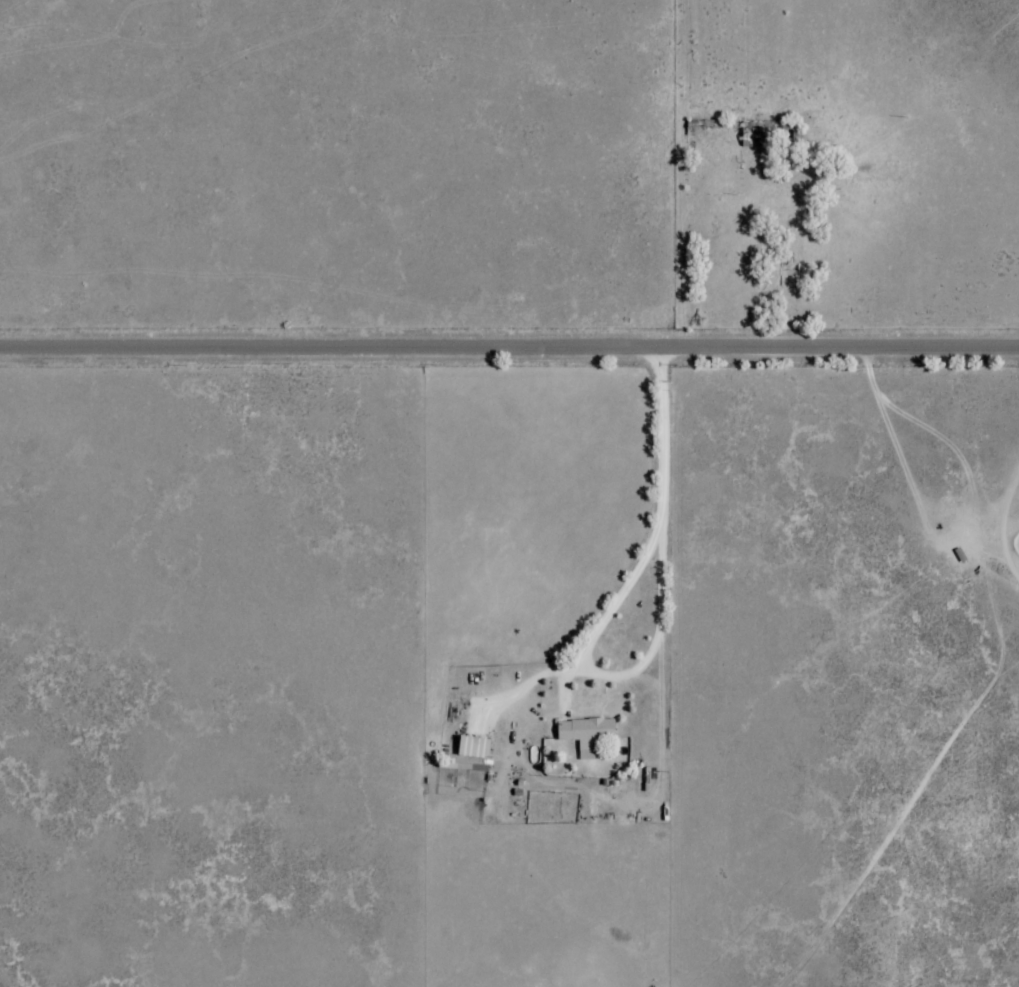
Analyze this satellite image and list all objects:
road: (691, 178)
road: (509, 355)
building: (585, 731)
building: (473, 747)

